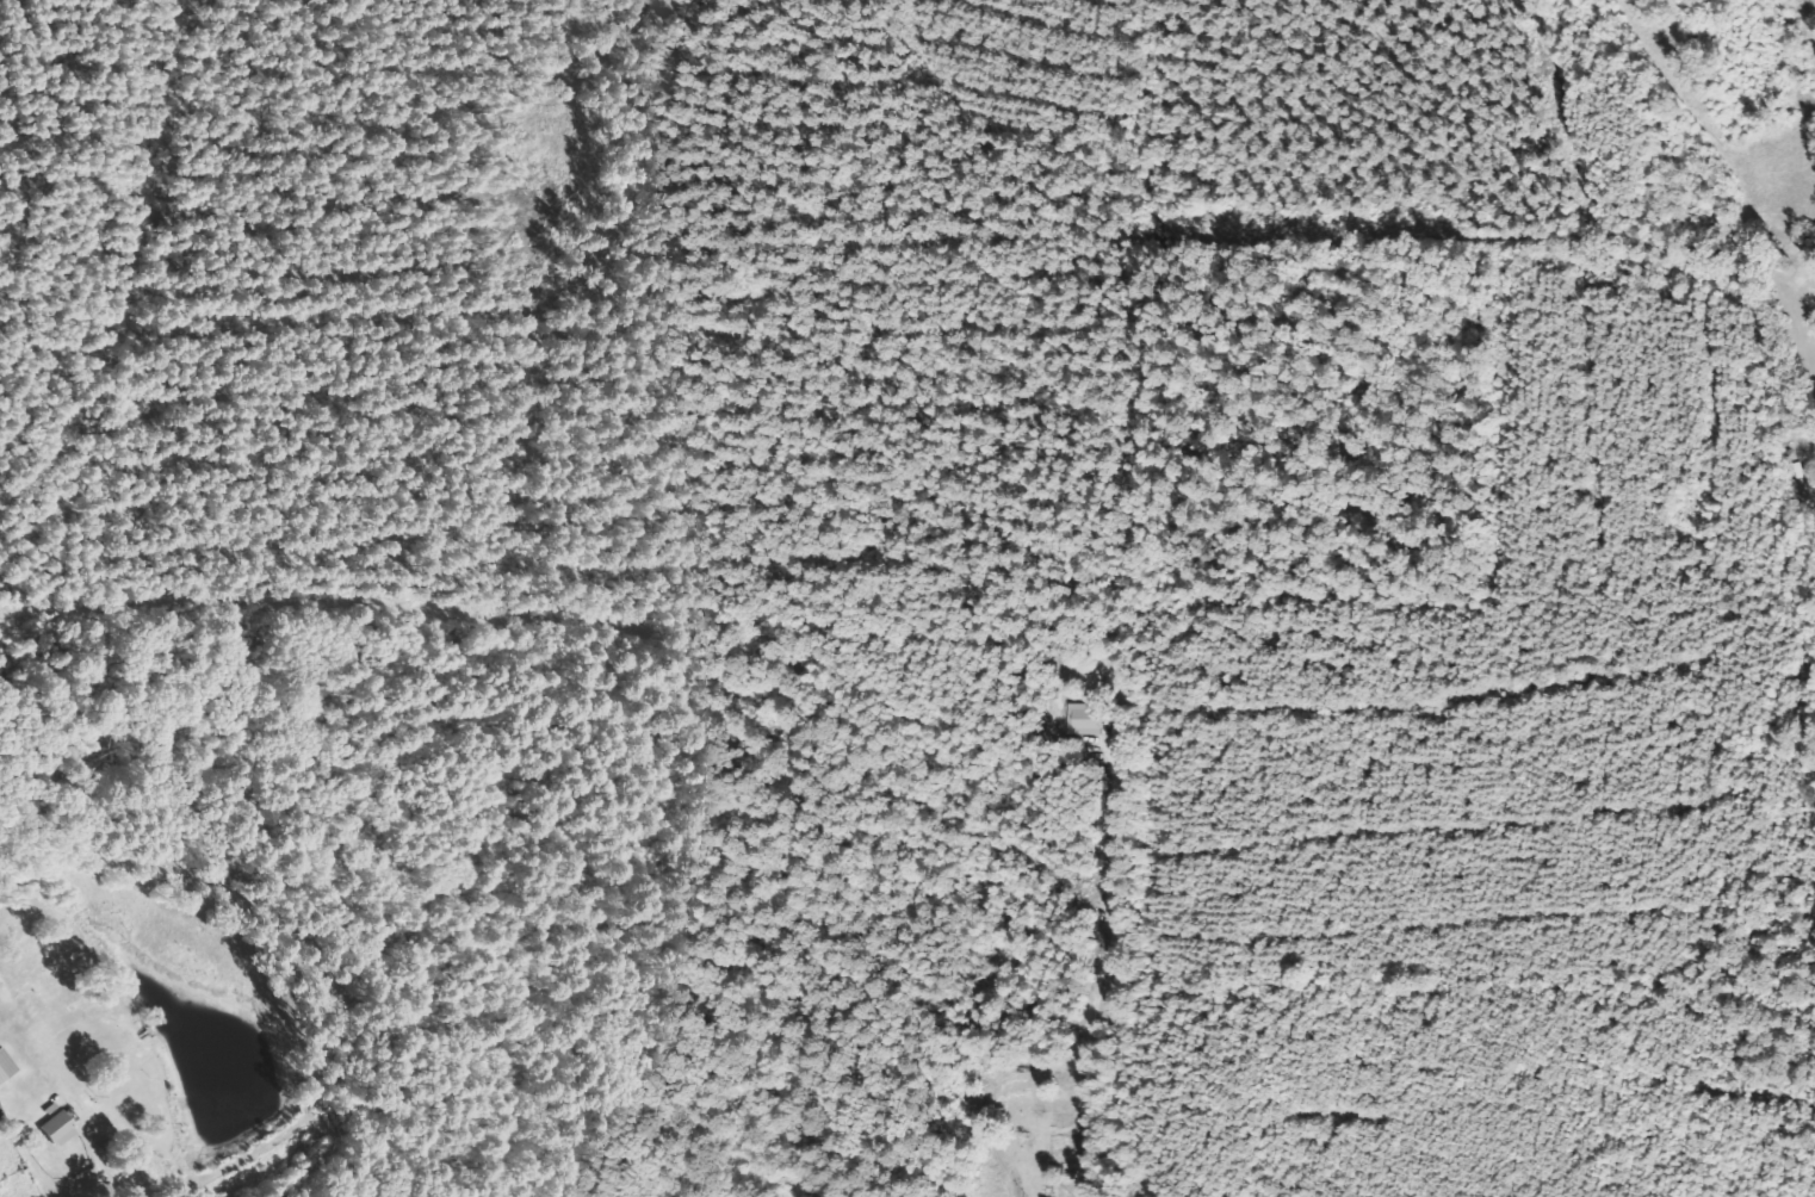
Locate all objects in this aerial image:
road: (1804, 31)
building: (7, 1066)
building: (62, 1129)

